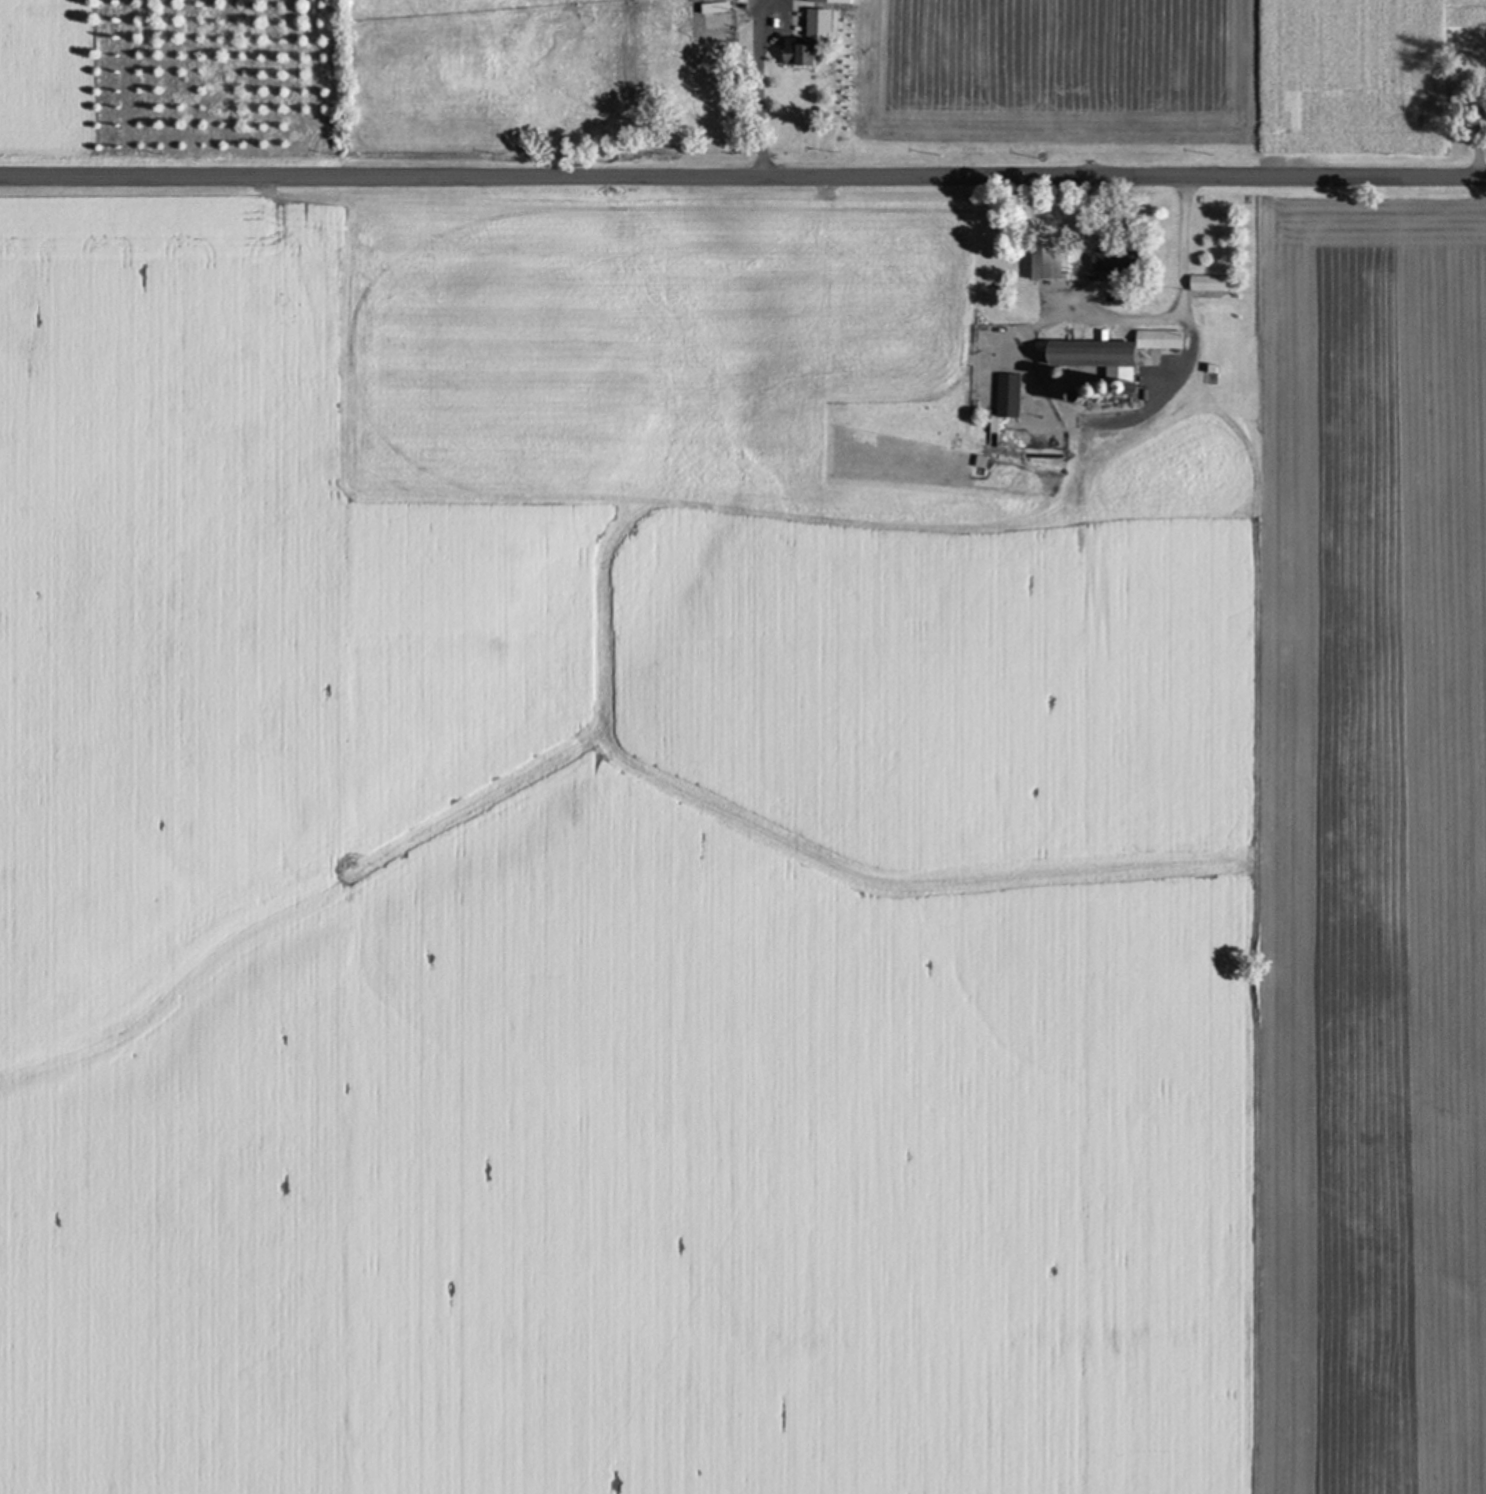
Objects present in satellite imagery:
building: (717, 7)
building: (821, 22)
building: (802, 54)
road: (743, 170)
building: (1118, 260)
building: (1053, 262)
building: (1210, 283)
road: (1122, 315)
building: (1116, 351)
building: (1010, 395)

